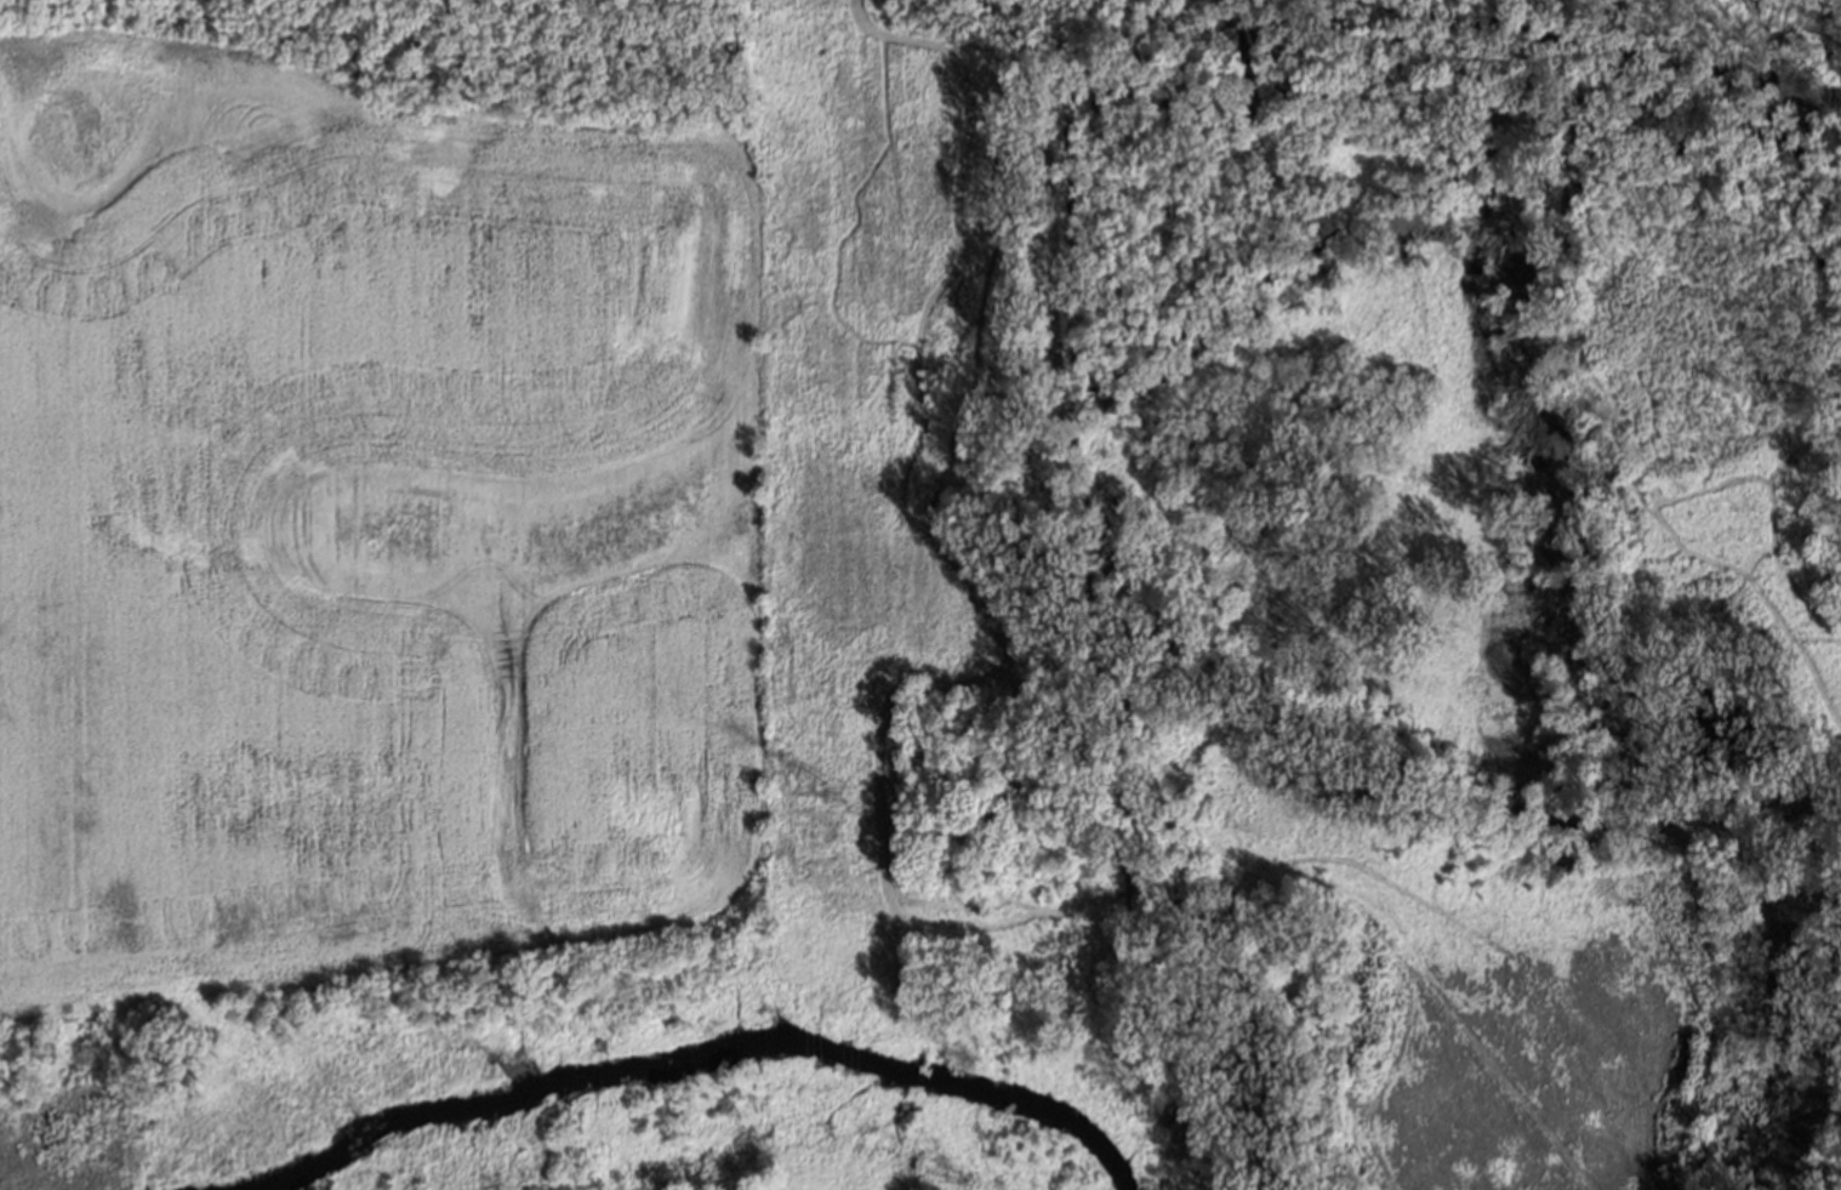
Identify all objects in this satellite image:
river: (1674, 66)
power tower: (839, 797)
river: (665, 1069)

